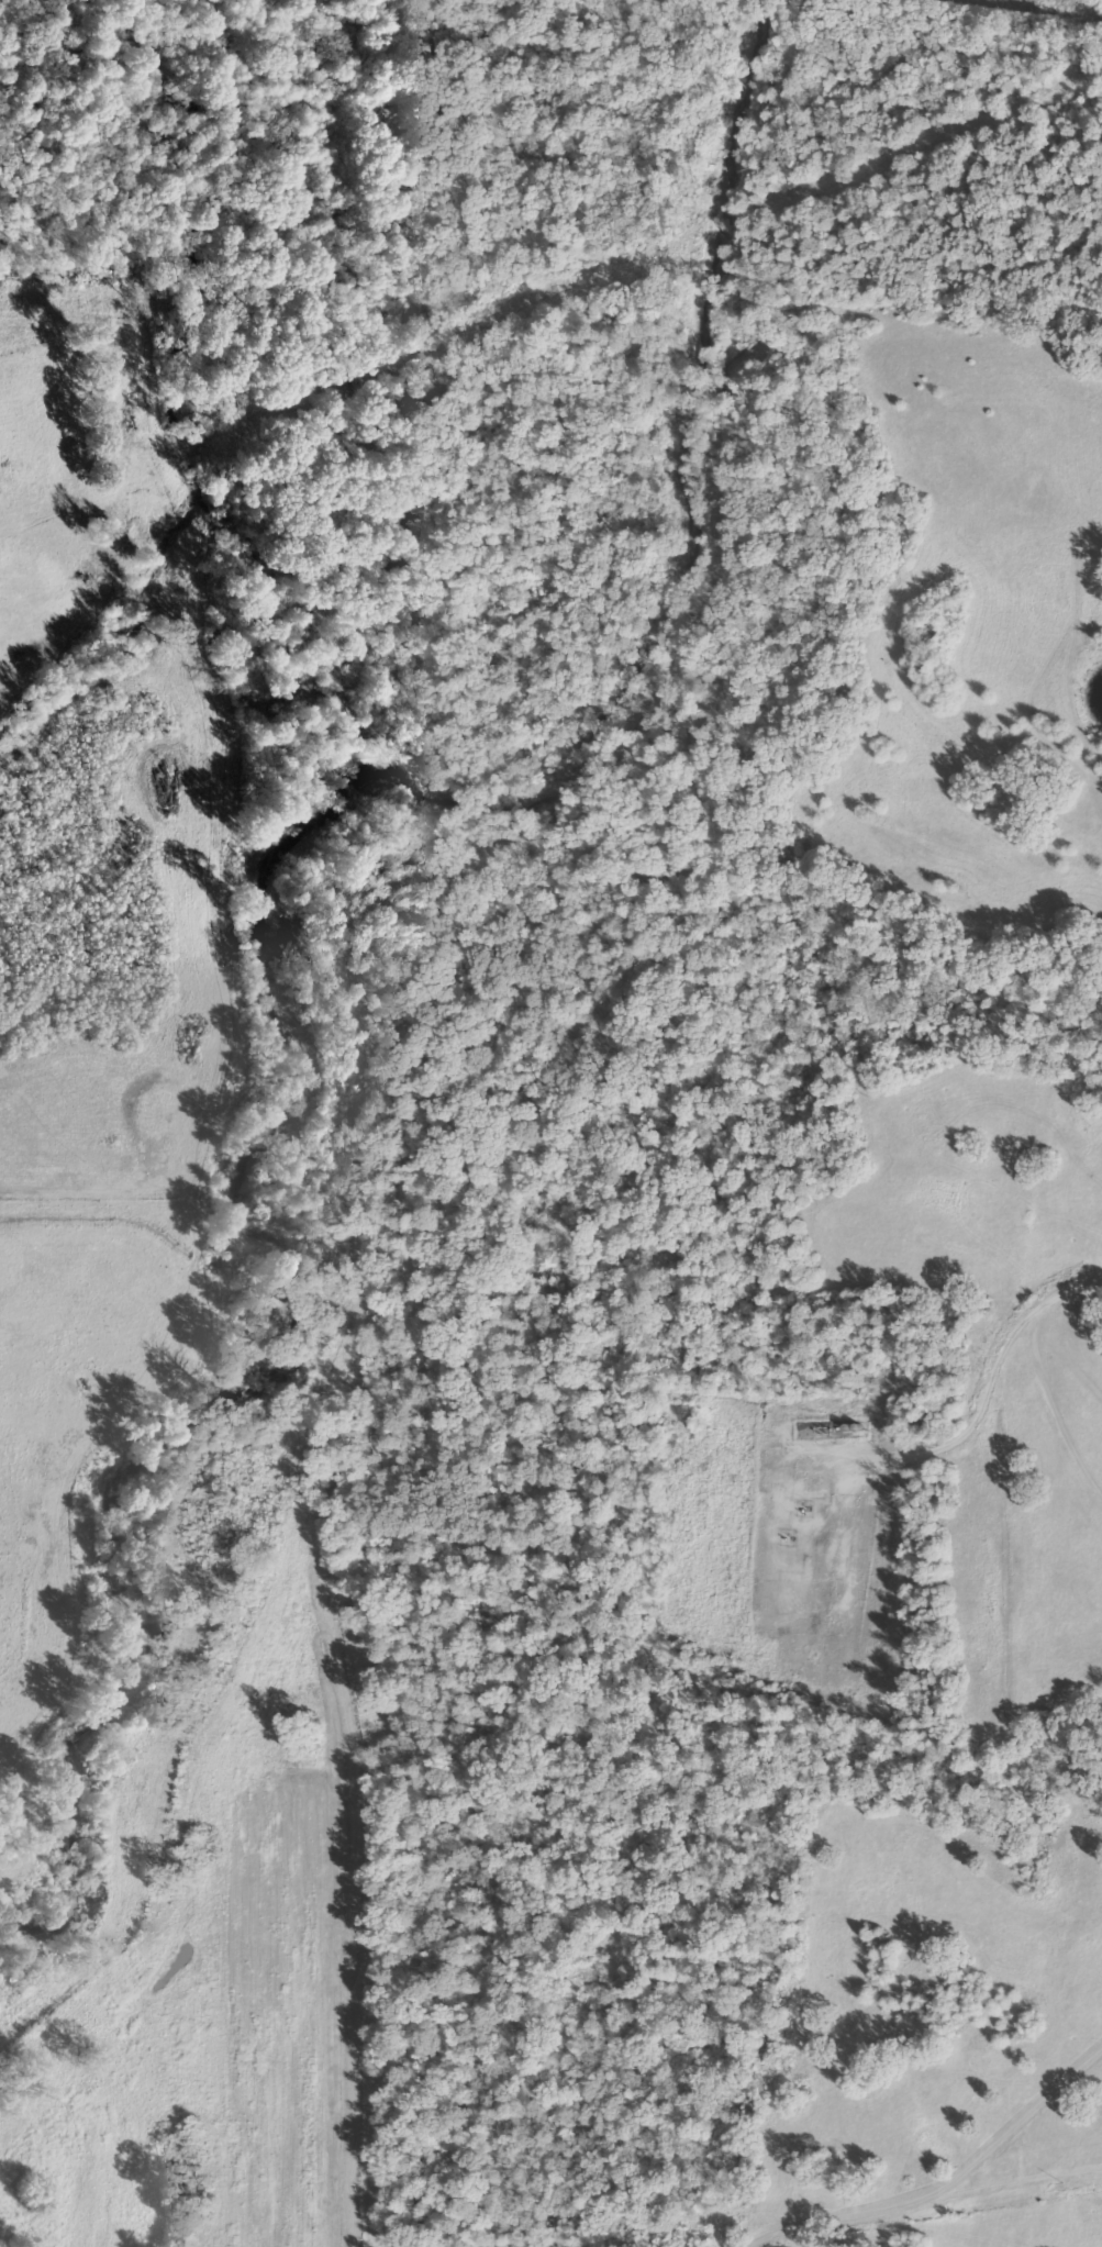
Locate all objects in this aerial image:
road: (1045, 1764)

